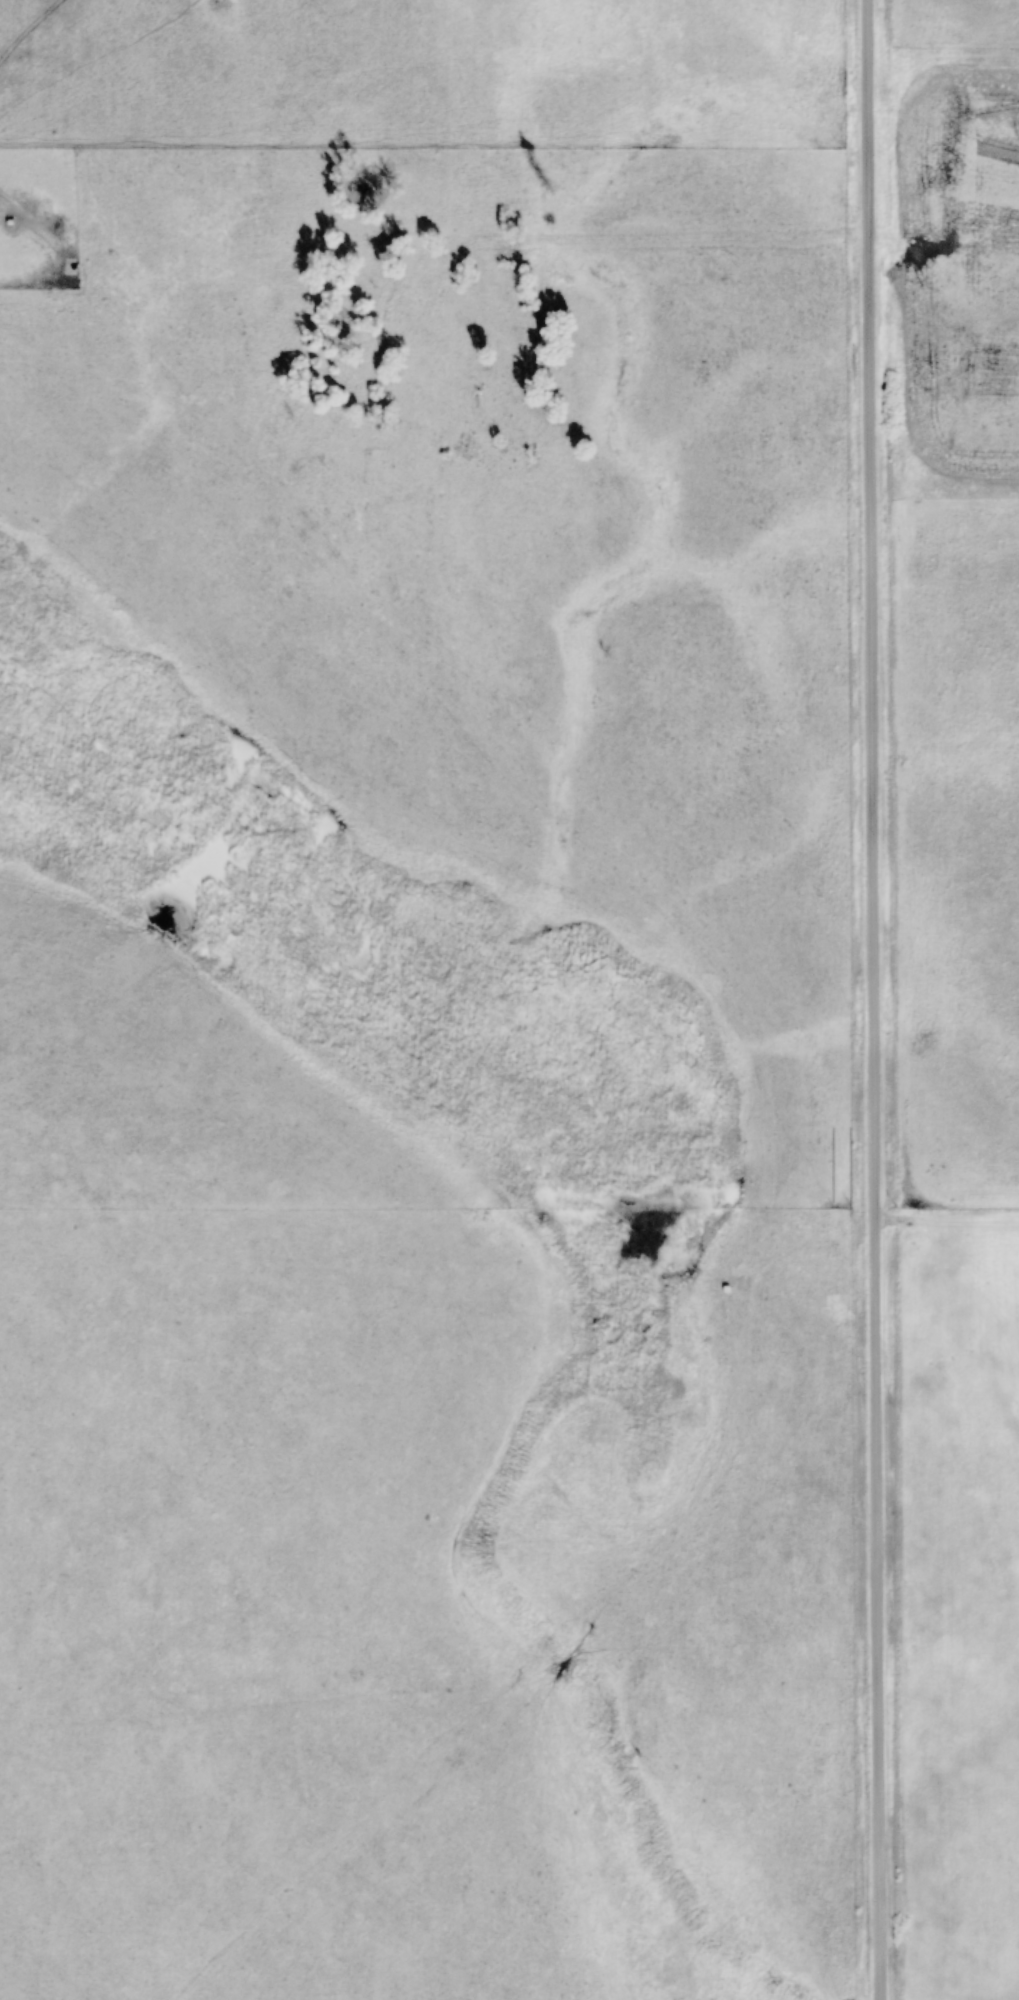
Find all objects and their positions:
road: (873, 1000)

